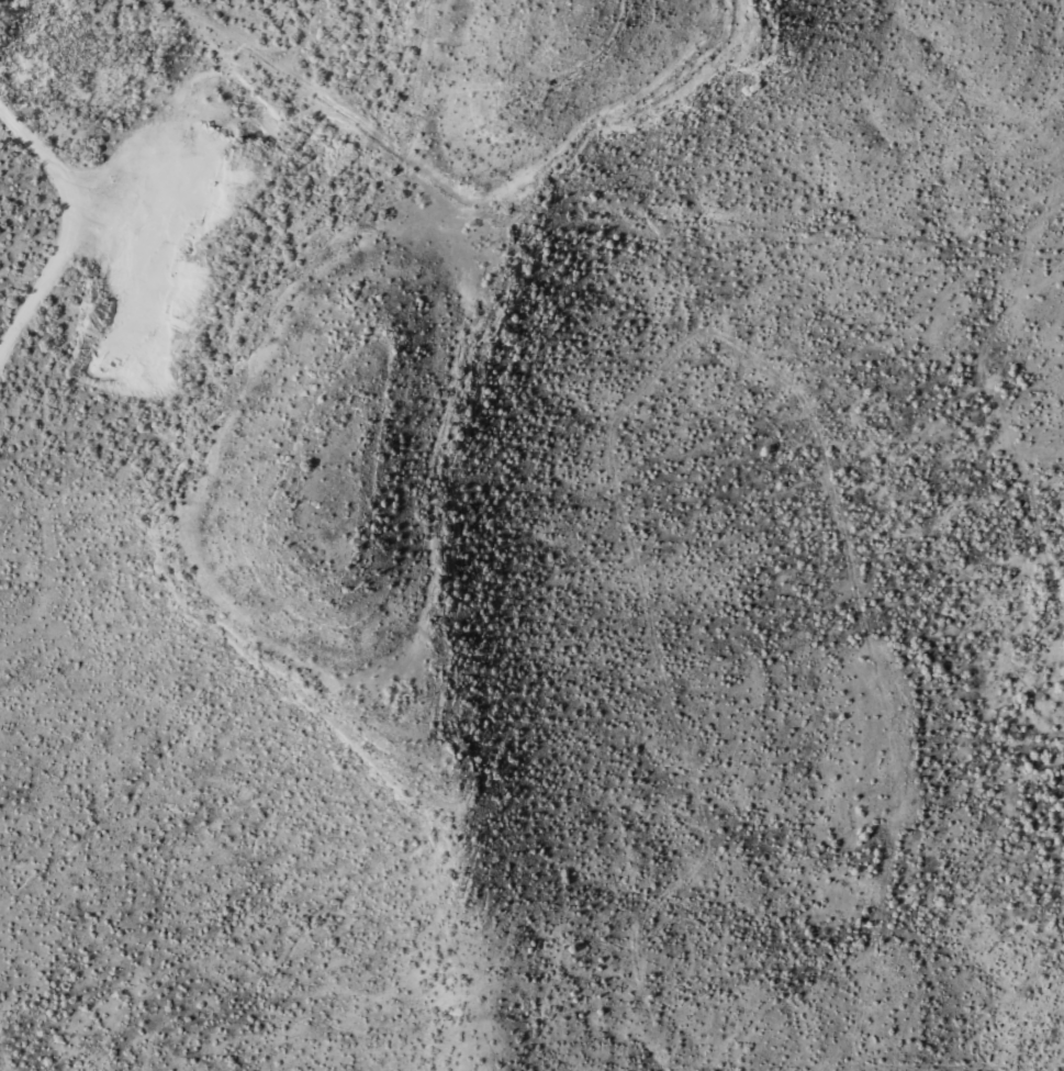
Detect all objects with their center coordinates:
road: (44, 263)

